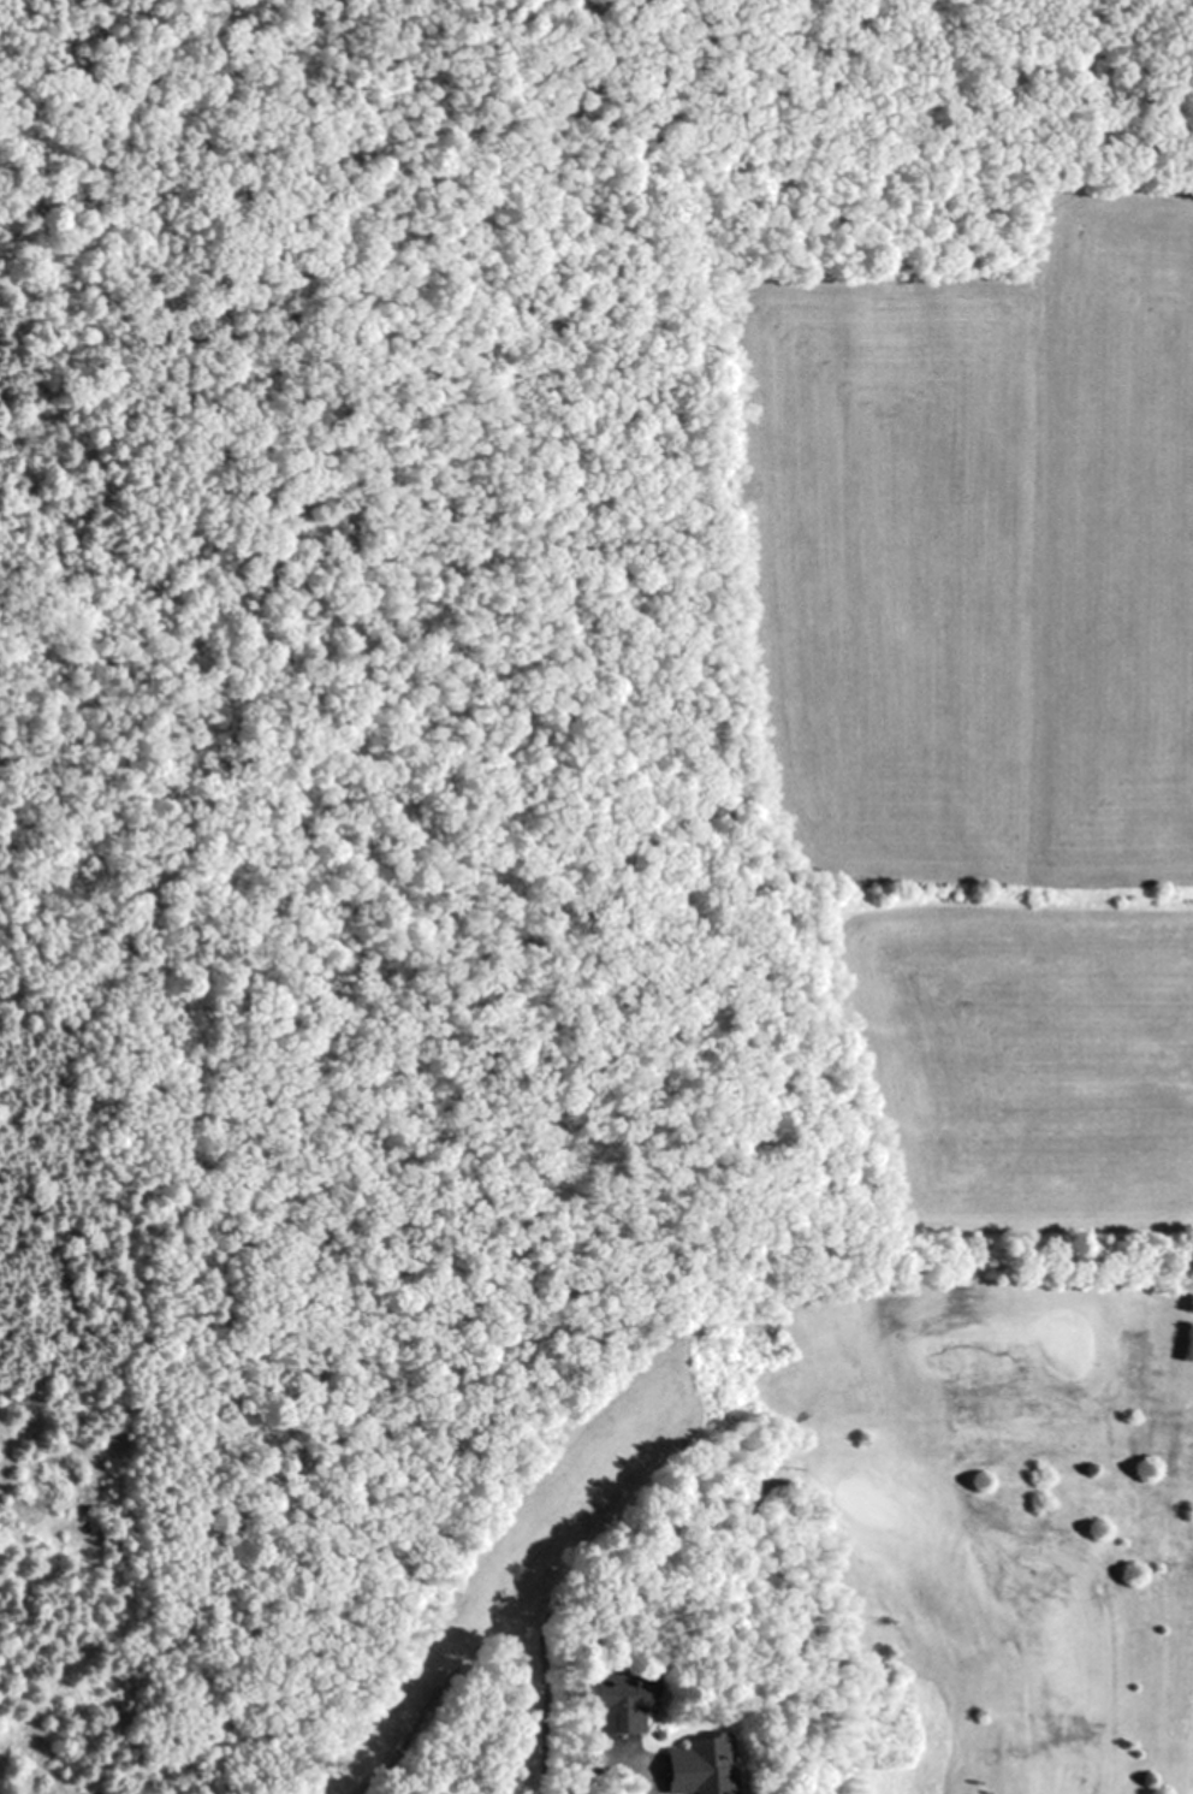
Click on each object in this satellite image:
park: (688, 1527)
building: (613, 1701)
building: (694, 1766)

